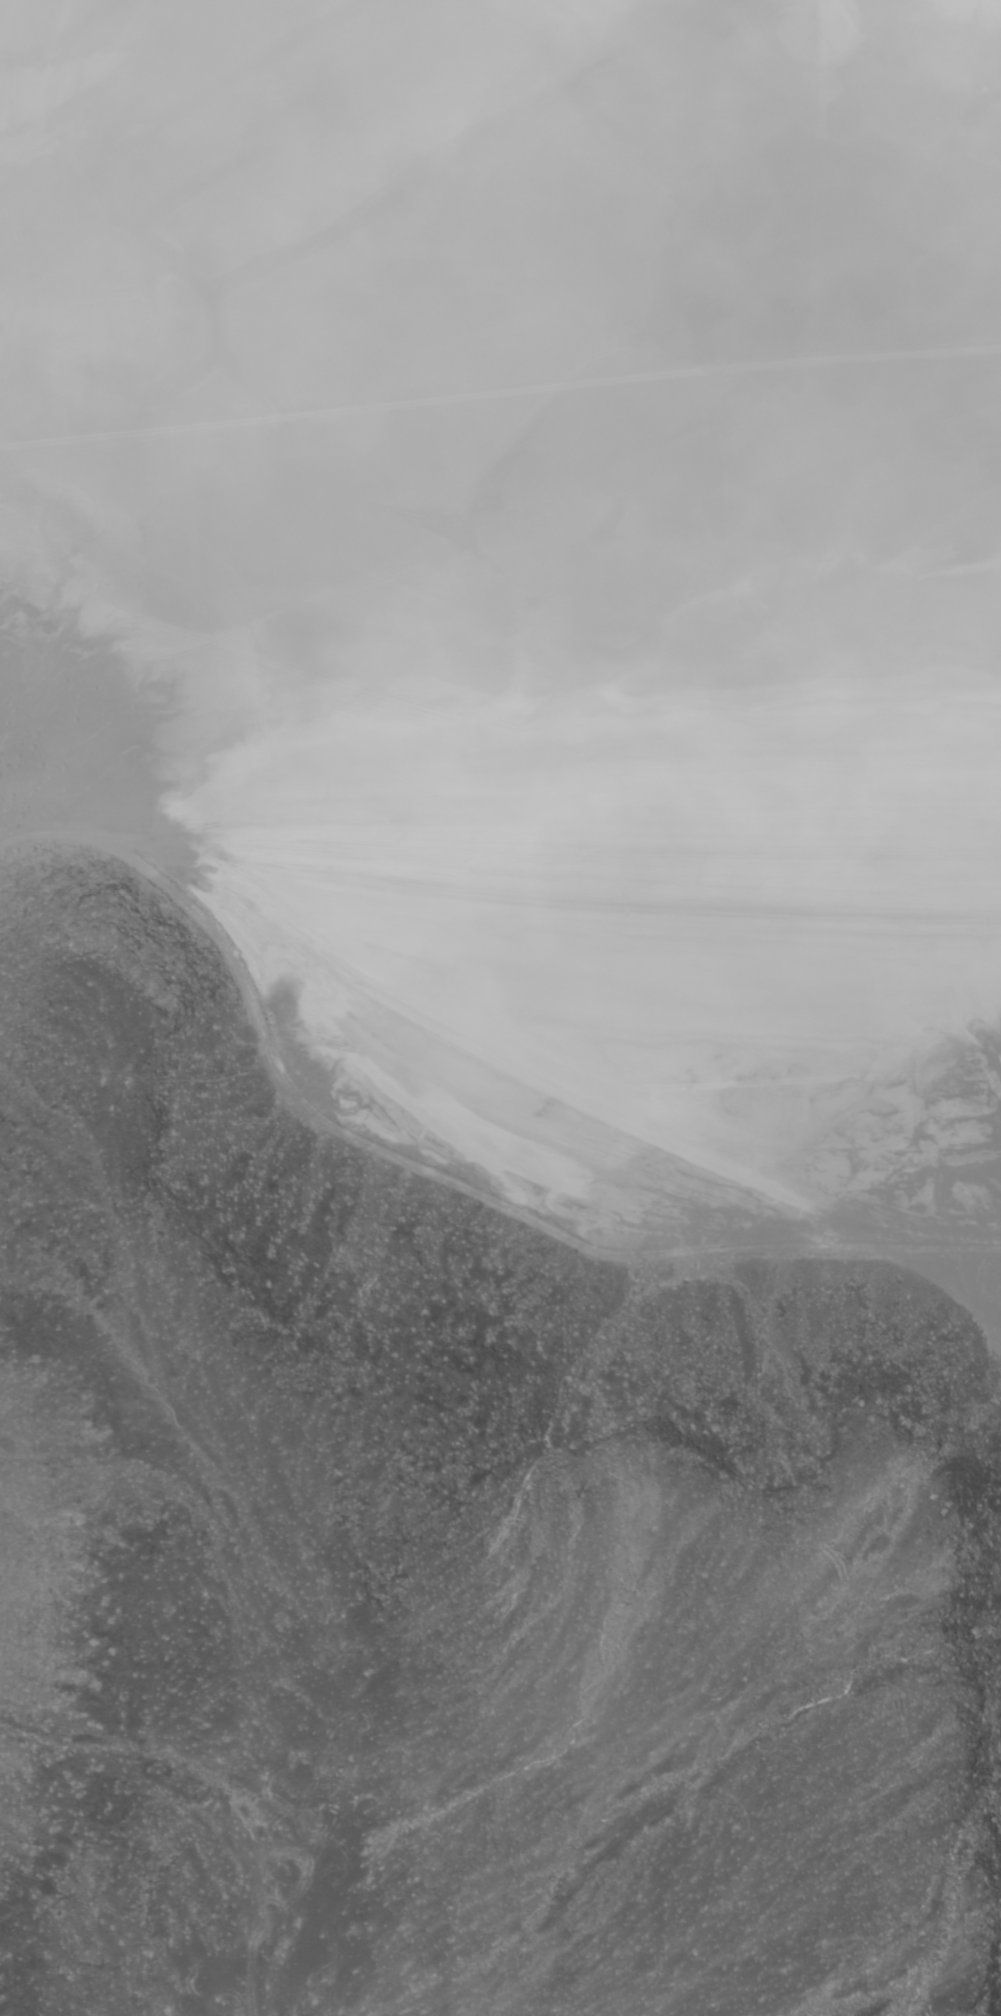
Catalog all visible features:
airport: (534, 577)

